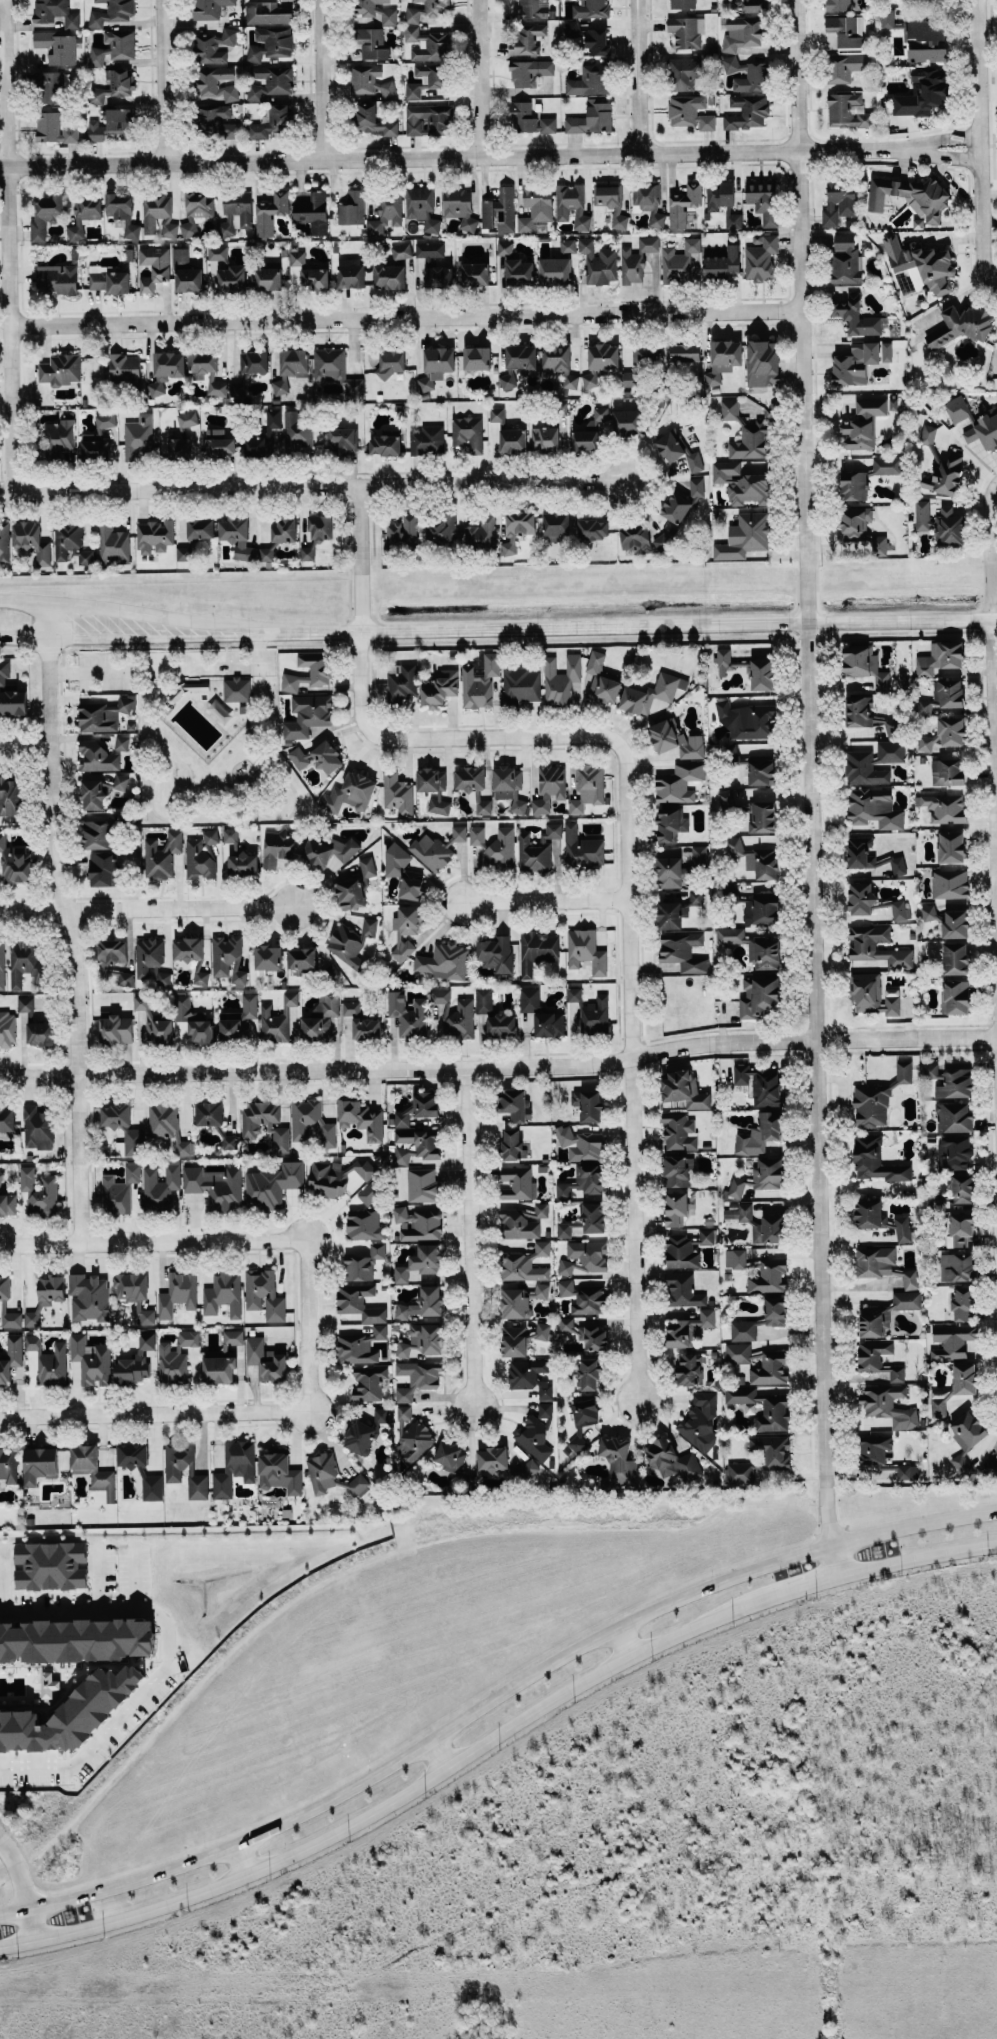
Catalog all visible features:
building: (682, 4)
building: (754, 5)
building: (210, 8)
building: (535, 9)
building: (591, 9)
building: (112, 12)
building: (374, 12)
building: (56, 13)
building: (267, 13)
building: (412, 28)
building: (845, 30)
building: (686, 31)
building: (743, 31)
building: (919, 37)
building: (588, 38)
building: (528, 39)
building: (271, 42)
building: (371, 43)
building: (213, 45)
building: (59, 46)
building: (113, 47)
building: (730, 64)
building: (846, 66)
building: (529, 72)
road: (982, 72)
building: (683, 73)
road: (641, 75)
road: (328, 76)
road: (486, 77)
building: (427, 78)
building: (752, 78)
road: (170, 80)
building: (590, 80)
building: (270, 81)
building: (370, 81)
building: (216, 84)
building: (113, 85)
building: (53, 86)
building: (921, 93)
building: (747, 111)
building: (847, 111)
building: (689, 112)
building: (215, 117)
building: (592, 117)
building: (119, 118)
building: (428, 119)
building: (529, 119)
building: (370, 120)
building: (274, 121)
building: (54, 128)
building: (95, 130)
road: (491, 153)
building: (719, 194)
building: (418, 199)
building: (762, 199)
building: (839, 200)
building: (611, 201)
building: (649, 202)
building: (684, 203)
building: (928, 203)
building: (571, 205)
building: (459, 207)
building: (352, 208)
building: (536, 209)
building: (500, 210)
building: (235, 211)
building: (197, 212)
building: (270, 212)
building: (313, 212)
road: (985, 212)
building: (386, 213)
building: (45, 214)
building: (84, 215)
building: (122, 215)
building: (158, 215)
building: (733, 219)
building: (432, 225)
building: (567, 245)
road: (8, 246)
building: (430, 249)
building: (401, 251)
building: (297, 257)
building: (761, 258)
building: (637, 259)
building: (846, 260)
building: (598, 261)
building: (678, 262)
building: (723, 265)
building: (921, 265)
building: (154, 267)
building: (227, 269)
building: (186, 271)
building: (556, 271)
building: (518, 272)
building: (475, 274)
building: (351, 275)
building: (390, 276)
building: (438, 276)
building: (57, 278)
building: (268, 278)
building: (315, 278)
building: (108, 279)
road: (411, 314)
building: (856, 316)
building: (961, 325)
building: (685, 352)
building: (645, 355)
building: (603, 356)
building: (556, 358)
building: (476, 359)
building: (723, 359)
building: (254, 361)
building: (860, 361)
building: (390, 362)
building: (518, 362)
building: (762, 363)
building: (435, 366)
building: (124, 368)
building: (166, 368)
building: (291, 368)
building: (335, 368)
building: (61, 369)
building: (207, 370)
building: (629, 378)
building: (590, 379)
building: (570, 380)
building: (237, 388)
building: (871, 406)
building: (730, 409)
building: (956, 409)
building: (496, 414)
building: (105, 419)
building: (626, 422)
building: (296, 430)
building: (984, 430)
building: (591, 432)
building: (468, 433)
building: (928, 433)
building: (856, 434)
building: (138, 436)
building: (263, 436)
building: (59, 437)
building: (427, 439)
building: (545, 439)
building: (513, 440)
building: (342, 441)
building: (750, 441)
building: (219, 443)
building: (385, 445)
building: (94, 446)
building: (182, 448)
building: (678, 451)
building: (886, 465)
building: (944, 476)
building: (741, 483)
building: (854, 485)
road: (315, 487)
building: (683, 501)
road: (995, 516)
building: (556, 523)
building: (855, 523)
building: (941, 523)
building: (200, 528)
building: (593, 528)
building: (283, 529)
building: (516, 529)
building: (441, 530)
building: (402, 533)
building: (481, 533)
building: (316, 534)
building: (154, 536)
building: (744, 536)
building: (237, 537)
building: (641, 538)
building: (4, 539)
building: (32, 541)
building: (70, 543)
building: (113, 543)
building: (880, 545)
building: (184, 553)
building: (266, 554)
road: (362, 556)
road: (123, 609)
road: (622, 624)
road: (123, 630)
building: (724, 657)
building: (941, 657)
building: (865, 665)
road: (173, 667)
building: (319, 669)
building: (4, 673)
building: (762, 674)
building: (601, 678)
building: (561, 679)
building: (401, 681)
building: (480, 681)
building: (520, 685)
building: (439, 688)
building: (237, 689)
building: (651, 693)
building: (944, 695)
building: (13, 702)
building: (105, 714)
building: (307, 715)
building: (748, 719)
building: (891, 724)
building: (945, 734)
building: (122, 742)
building: (675, 743)
road: (29, 744)
building: (97, 757)
building: (317, 757)
building: (867, 762)
building: (761, 769)
building: (947, 771)
building: (679, 782)
building: (509, 786)
building: (473, 787)
building: (588, 787)
building: (434, 788)
building: (549, 788)
road: (818, 788)
building: (100, 789)
building: (350, 793)
building: (397, 793)
building: (10, 796)
building: (727, 799)
building: (944, 807)
building: (874, 808)
building: (763, 816)
building: (670, 823)
building: (97, 835)
building: (230, 835)
building: (495, 845)
building: (951, 846)
building: (735, 847)
building: (278, 848)
building: (437, 848)
building: (582, 848)
building: (538, 849)
building: (326, 850)
building: (161, 855)
building: (201, 855)
building: (870, 855)
building: (15, 862)
building: (243, 863)
building: (765, 863)
building: (679, 868)
building: (104, 869)
building: (404, 874)
building: (950, 883)
building: (355, 886)
road: (629, 888)
building: (695, 897)
building: (860, 898)
road: (542, 901)
road: (153, 908)
building: (900, 909)
building: (766, 910)
building: (930, 912)
building: (671, 914)
road: (71, 919)
building: (955, 924)
building: (406, 928)
building: (351, 942)
building: (863, 945)
building: (753, 947)
building: (536, 950)
building: (586, 951)
building: (683, 951)
building: (496, 954)
building: (148, 955)
building: (192, 955)
building: (268, 957)
building: (228, 958)
building: (956, 958)
building: (114, 960)
building: (302, 960)
building: (27, 961)
building: (443, 961)
building: (2, 966)
building: (160, 977)
building: (874, 994)
building: (759, 995)
building: (955, 997)
building: (529, 999)
building: (483, 1000)
building: (25, 1004)
building: (591, 1011)
building: (455, 1014)
building: (408, 1015)
building: (321, 1018)
building: (277, 1019)
building: (194, 1020)
building: (241, 1021)
building: (154, 1022)
building: (361, 1022)
building: (550, 1024)
building: (502, 1025)
building: (393, 1027)
building: (7, 1028)
building: (116, 1028)
building: (40, 1033)
road: (499, 1064)
building: (932, 1070)
building: (904, 1072)
building: (760, 1083)
building: (956, 1083)
building: (683, 1089)
building: (512, 1103)
building: (588, 1104)
building: (871, 1105)
building: (419, 1107)
building: (209, 1113)
building: (116, 1114)
building: (954, 1117)
building: (362, 1118)
building: (7, 1119)
building: (311, 1122)
building: (167, 1125)
building: (38, 1128)
building: (278, 1128)
building: (679, 1131)
building: (760, 1133)
building: (131, 1142)
building: (229, 1142)
building: (580, 1143)
building: (417, 1145)
building: (513, 1145)
building: (954, 1152)
building: (876, 1160)
building: (677, 1170)
building: (1, 1176)
building: (335, 1176)
building: (759, 1177)
building: (583, 1181)
building: (517, 1183)
building: (273, 1184)
building: (423, 1185)
building: (160, 1186)
building: (216, 1186)
building: (963, 1188)
building: (120, 1189)
building: (39, 1192)
building: (8, 1204)
building: (677, 1208)
building: (541, 1210)
building: (739, 1211)
building: (366, 1216)
building: (593, 1217)
building: (880, 1219)
building: (418, 1223)
building: (518, 1225)
building: (770, 1228)
building: (960, 1228)
building: (563, 1229)
building: (707, 1236)
road: (172, 1238)
road: (478, 1240)
building: (682, 1250)
building: (584, 1257)
building: (735, 1258)
building: (874, 1261)
building: (420, 1262)
building: (363, 1263)
building: (525, 1263)
building: (957, 1266)
building: (769, 1276)
building: (910, 1279)
building: (131, 1286)
building: (5, 1287)
building: (566, 1287)
building: (682, 1290)
building: (178, 1293)
building: (223, 1294)
building: (264, 1294)
building: (46, 1296)
building: (89, 1297)
building: (589, 1299)
building: (521, 1300)
building: (359, 1302)
building: (422, 1303)
building: (963, 1304)
building: (775, 1307)
building: (886, 1313)
building: (146, 1315)
building: (12, 1319)
building: (565, 1324)
building: (689, 1328)
building: (540, 1331)
building: (594, 1337)
building: (189, 1338)
building: (232, 1338)
building: (952, 1340)
building: (423, 1341)
building: (514, 1341)
building: (33, 1342)
building: (360, 1346)
road: (317, 1355)
building: (10, 1358)
building: (878, 1358)
building: (91, 1359)
building: (266, 1359)
building: (134, 1362)
building: (759, 1363)
building: (171, 1364)
building: (53, 1365)
building: (689, 1368)
building: (219, 1369)
building: (526, 1372)
building: (589, 1373)
building: (417, 1378)
building: (368, 1381)
building: (545, 1389)
building: (887, 1405)
building: (762, 1406)
road: (142, 1412)
building: (381, 1414)
building: (699, 1418)
building: (583, 1420)
building: (969, 1428)
building: (536, 1432)
building: (360, 1437)
building: (874, 1448)
building: (132, 1454)
building: (450, 1456)
building: (772, 1456)
building: (618, 1458)
building: (492, 1459)
building: (671, 1459)
building: (8, 1464)
building: (40, 1464)
building: (960, 1464)
building: (989, 1466)
building: (234, 1467)
building: (185, 1468)
building: (93, 1469)
building: (528, 1469)
building: (322, 1471)
building: (907, 1471)
building: (279, 1473)
building: (740, 1473)
building: (358, 1484)
building: (152, 1487)
building: (51, 1565)
road: (3, 1580)
road: (98, 1580)
road: (135, 1580)
building: (77, 1639)
road: (625, 1640)
road: (159, 1665)
building: (49, 1684)
road: (493, 1698)
building: (70, 1714)
road: (495, 1736)
road: (440, 1753)
road: (244, 1858)
road: (15, 1880)
road: (33, 1925)

